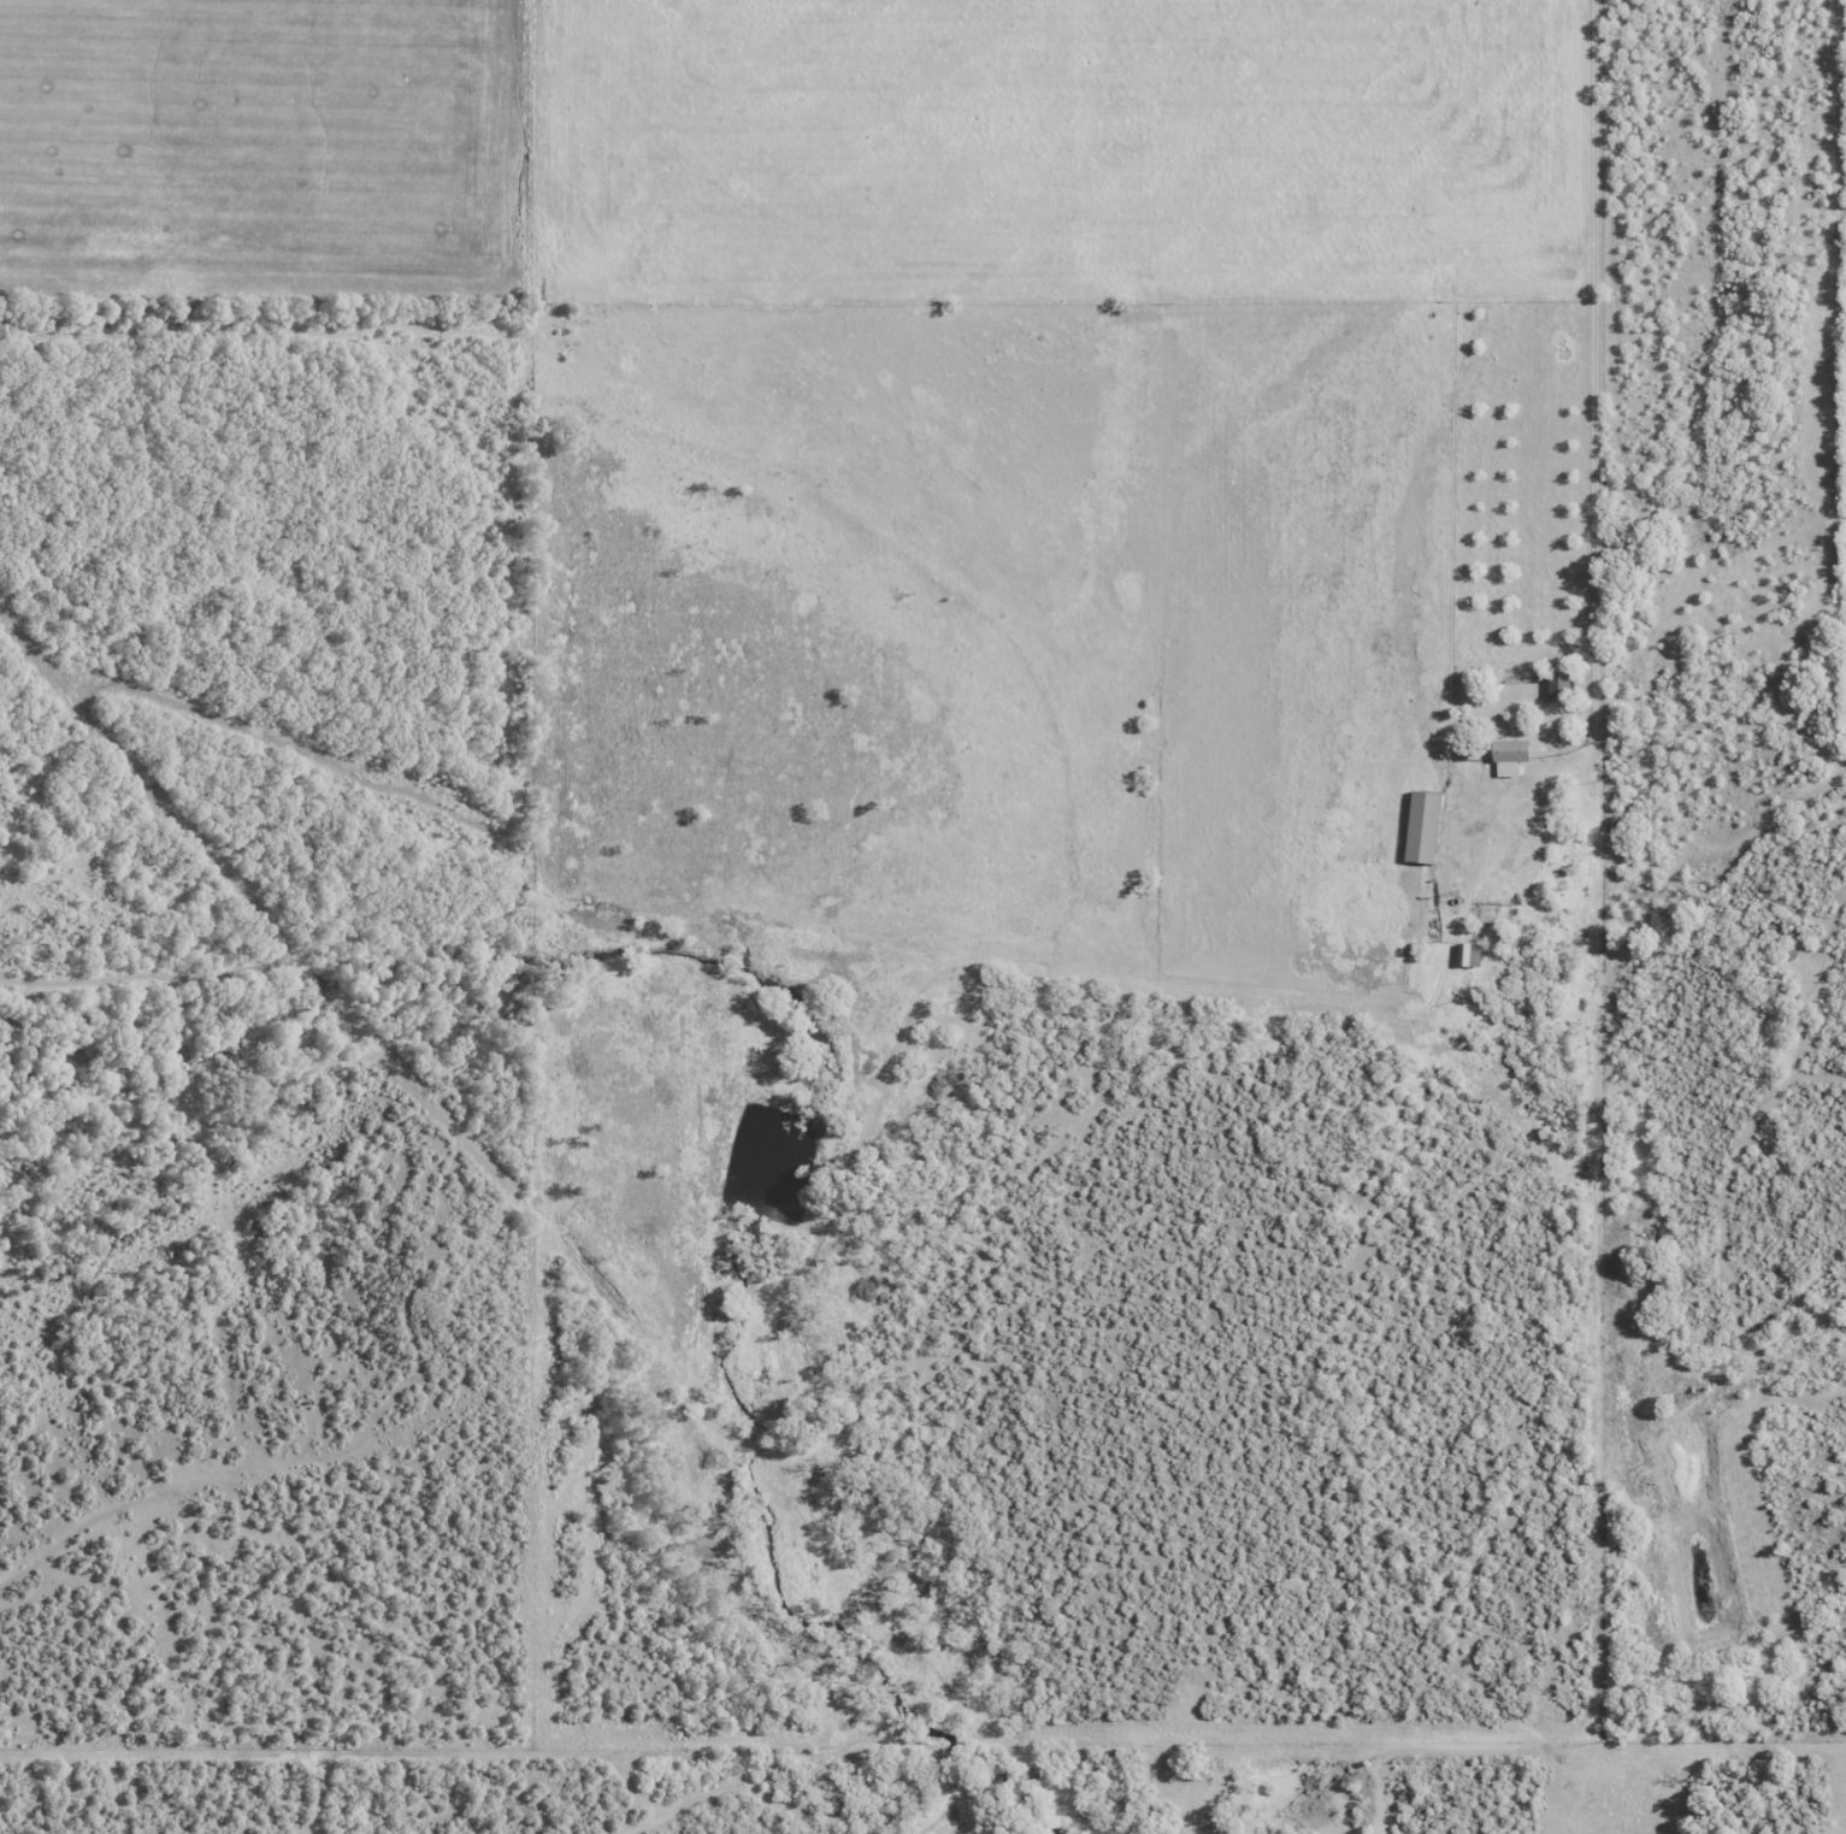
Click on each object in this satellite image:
road: (1594, 401)
building: (1562, 682)
building: (1514, 750)
building: (1472, 955)

